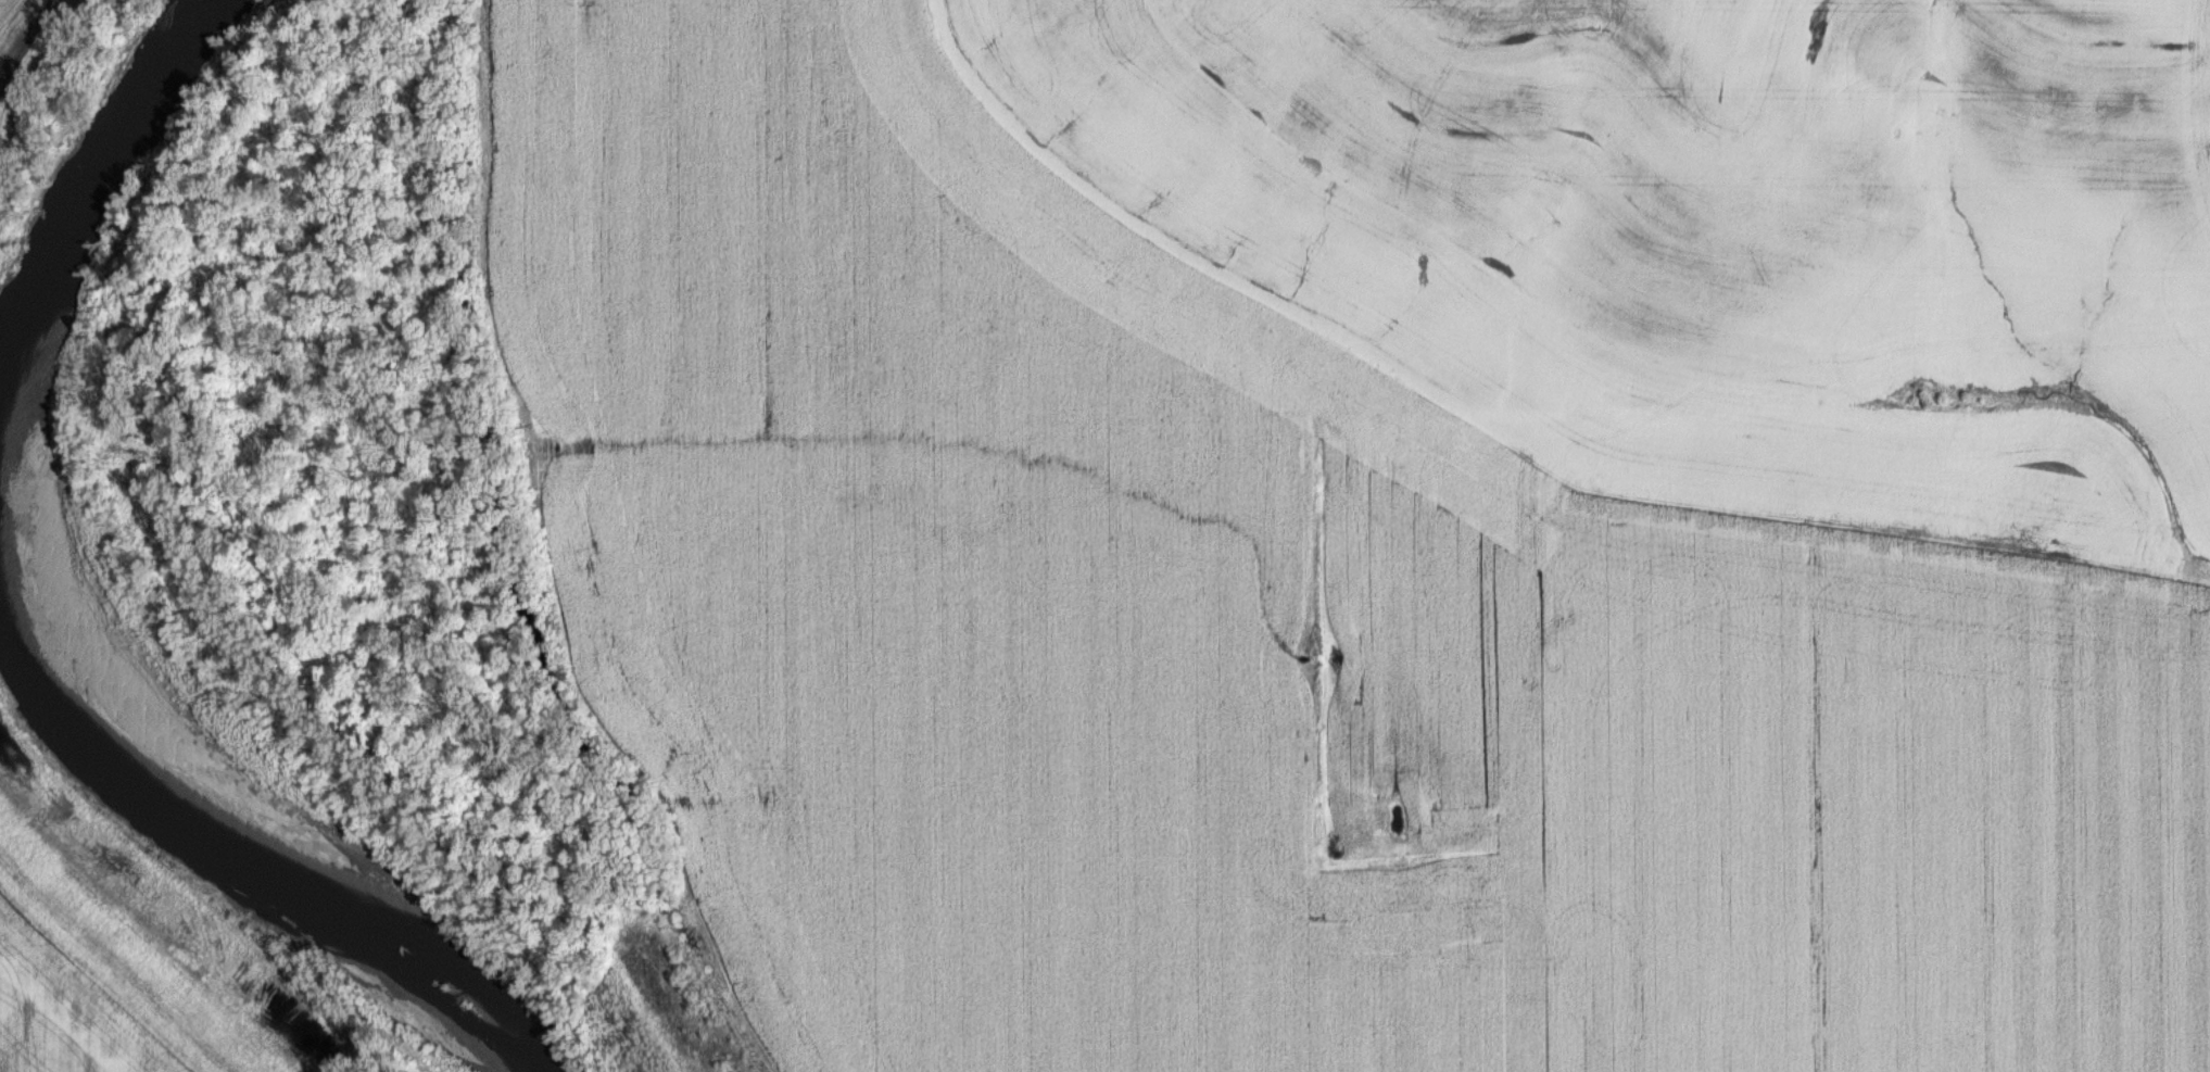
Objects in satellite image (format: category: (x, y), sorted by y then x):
river: (91, 176)
river: (271, 793)

